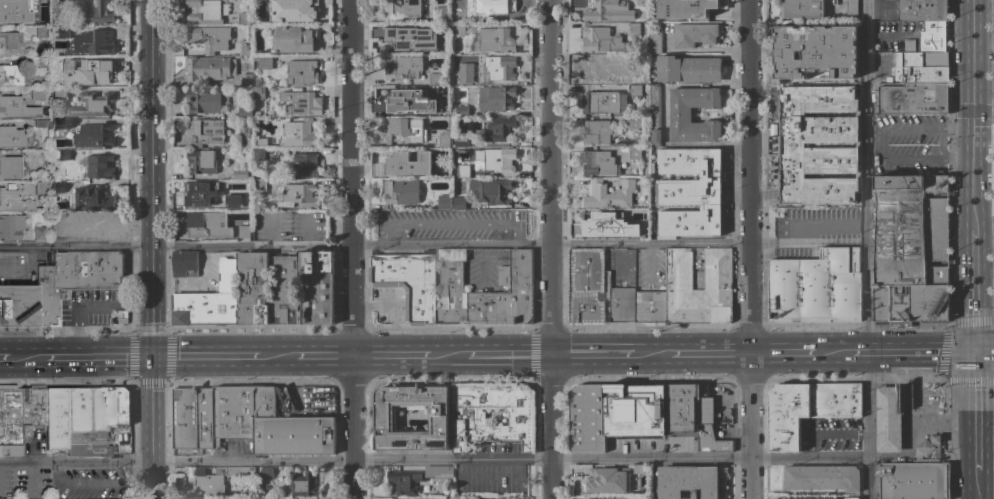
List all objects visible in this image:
building: (459, 2)
building: (638, 2)
building: (63, 3)
building: (851, 7)
building: (403, 8)
building: (687, 8)
building: (801, 8)
building: (15, 10)
building: (293, 10)
building: (922, 10)
building: (206, 11)
building: (491, 11)
building: (603, 11)
building: (96, 12)
building: (440, 13)
building: (244, 18)
building: (458, 29)
building: (633, 29)
building: (41, 31)
building: (60, 32)
building: (695, 34)
road: (883, 35)
building: (929, 36)
building: (402, 37)
building: (210, 38)
building: (294, 39)
building: (654, 39)
building: (496, 40)
building: (601, 40)
building: (9, 42)
building: (93, 42)
building: (245, 47)
building: (434, 49)
building: (816, 51)
building: (263, 61)
building: (633, 61)
building: (41, 62)
building: (402, 67)
building: (500, 67)
building: (921, 67)
building: (209, 68)
building: (688, 69)
building: (598, 71)
building: (87, 72)
building: (301, 73)
building: (13, 75)
building: (461, 79)
building: (246, 80)
building: (48, 84)
building: (634, 90)
building: (59, 93)
building: (258, 93)
building: (38, 94)
building: (458, 94)
building: (913, 97)
building: (422, 98)
building: (496, 98)
building: (206, 100)
building: (604, 102)
building: (302, 103)
building: (92, 105)
building: (17, 108)
traffic signals: (970, 110)
building: (245, 111)
building: (462, 111)
building: (256, 113)
road: (970, 113)
building: (654, 114)
building: (680, 115)
building: (634, 121)
building: (449, 122)
building: (42, 123)
building: (61, 123)
road: (153, 124)
road: (960, 127)
building: (498, 129)
building: (403, 130)
building: (204, 131)
building: (597, 132)
building: (298, 134)
building: (97, 135)
building: (11, 136)
building: (245, 136)
building: (444, 139)
building: (461, 140)
building: (261, 142)
building: (792, 145)
road: (884, 146)
building: (634, 153)
building: (64, 154)
building: (258, 155)
road: (961, 159)
building: (500, 160)
building: (201, 162)
building: (409, 163)
building: (598, 163)
building: (306, 165)
building: (99, 166)
building: (10, 167)
building: (463, 171)
building: (239, 174)
building: (259, 185)
building: (58, 186)
building: (42, 187)
building: (493, 191)
building: (200, 192)
building: (400, 192)
building: (691, 193)
building: (608, 194)
building: (299, 196)
building: (93, 198)
building: (14, 200)
building: (233, 200)
building: (444, 202)
building: (458, 203)
building: (603, 221)
building: (652, 223)
building: (210, 224)
building: (638, 225)
building: (11, 226)
building: (40, 232)
building: (244, 232)
road: (434, 246)
road: (354, 249)
road: (552, 249)
road: (750, 249)
road: (869, 249)
building: (911, 251)
building: (185, 264)
building: (717, 269)
building: (75, 278)
building: (409, 282)
building: (586, 285)
building: (317, 287)
building: (816, 287)
building: (252, 288)
building: (451, 288)
road: (972, 288)
building: (283, 289)
building: (506, 295)
building: (209, 300)
building: (619, 301)
road: (154, 303)
building: (18, 305)
building: (650, 308)
building: (118, 316)
traffic signals: (974, 350)
road: (984, 350)
road: (910, 351)
road: (780, 354)
road: (828, 354)
road: (511, 355)
road: (594, 355)
road: (654, 355)
road: (712, 355)
road: (394, 356)
road: (453, 356)
road: (208, 357)
road: (280, 357)
road: (326, 357)
road: (7, 358)
road: (32, 358)
road: (102, 358)
traffic signals: (154, 358)
building: (33, 407)
building: (682, 408)
building: (808, 409)
building: (240, 410)
building: (635, 410)
building: (381, 413)
road: (974, 414)
building: (95, 416)
building: (56, 417)
building: (193, 418)
building: (587, 418)
building: (10, 419)
building: (520, 419)
building: (889, 419)
road: (911, 419)
building: (707, 424)
road: (154, 428)
building: (294, 435)
building: (929, 449)
road: (434, 460)
building: (266, 472)
building: (822, 477)
building: (607, 479)
building: (212, 480)
building: (404, 481)
building: (914, 481)
building: (688, 482)
building: (303, 486)
road: (975, 489)
building: (266, 498)
building: (460, 498)
building: (612, 498)
building: (852, 498)

